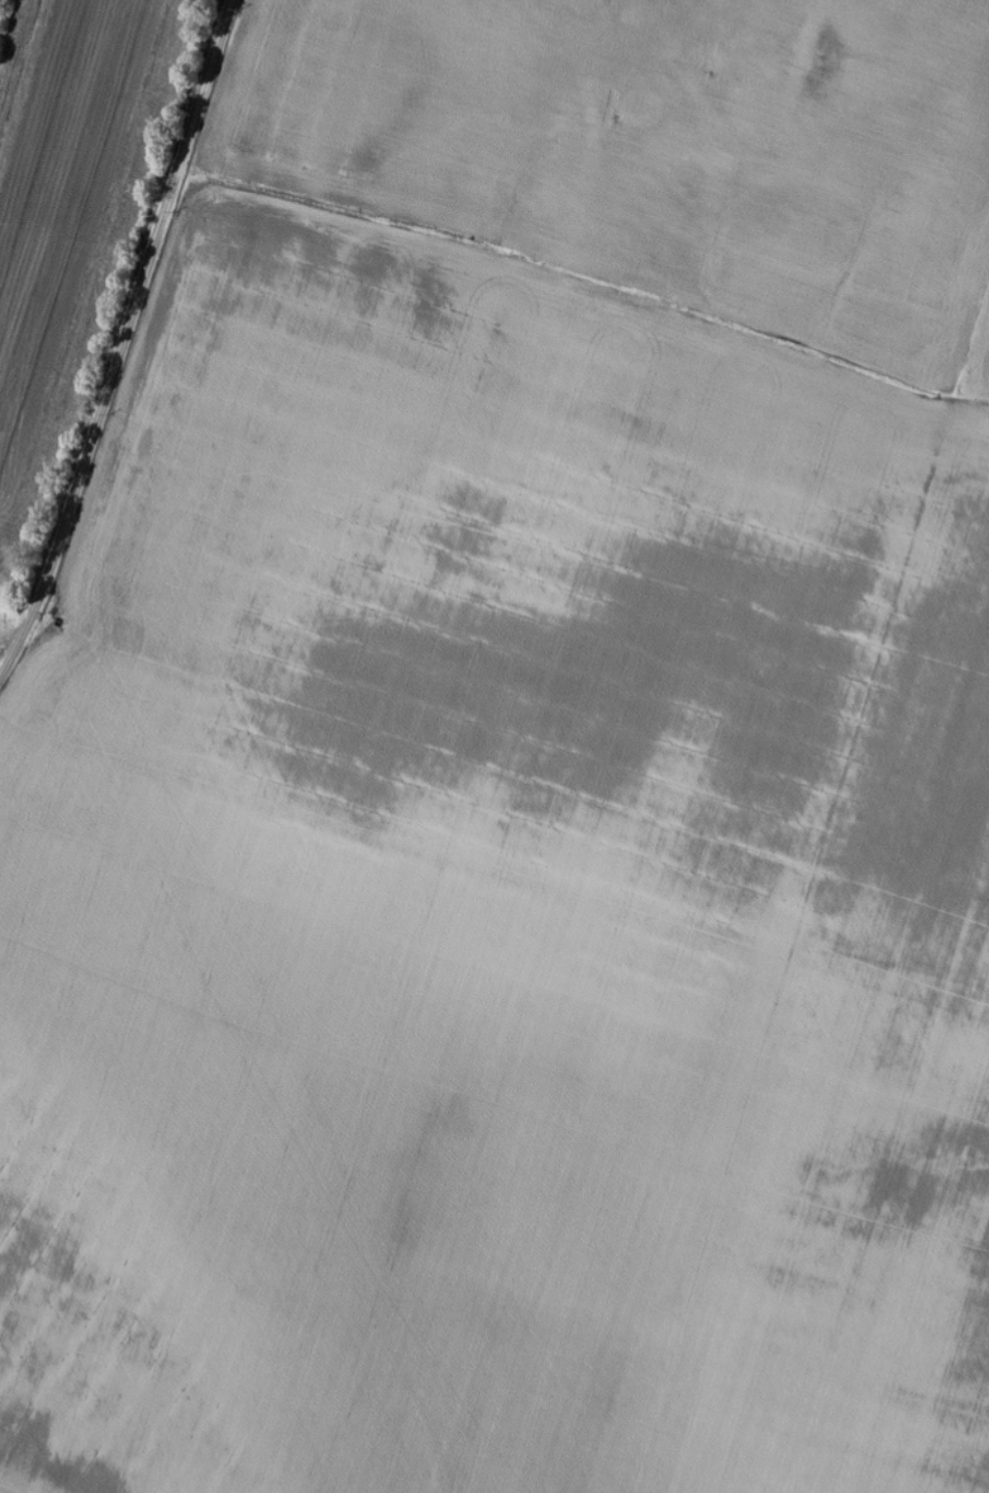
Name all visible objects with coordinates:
road: (123, 342)

